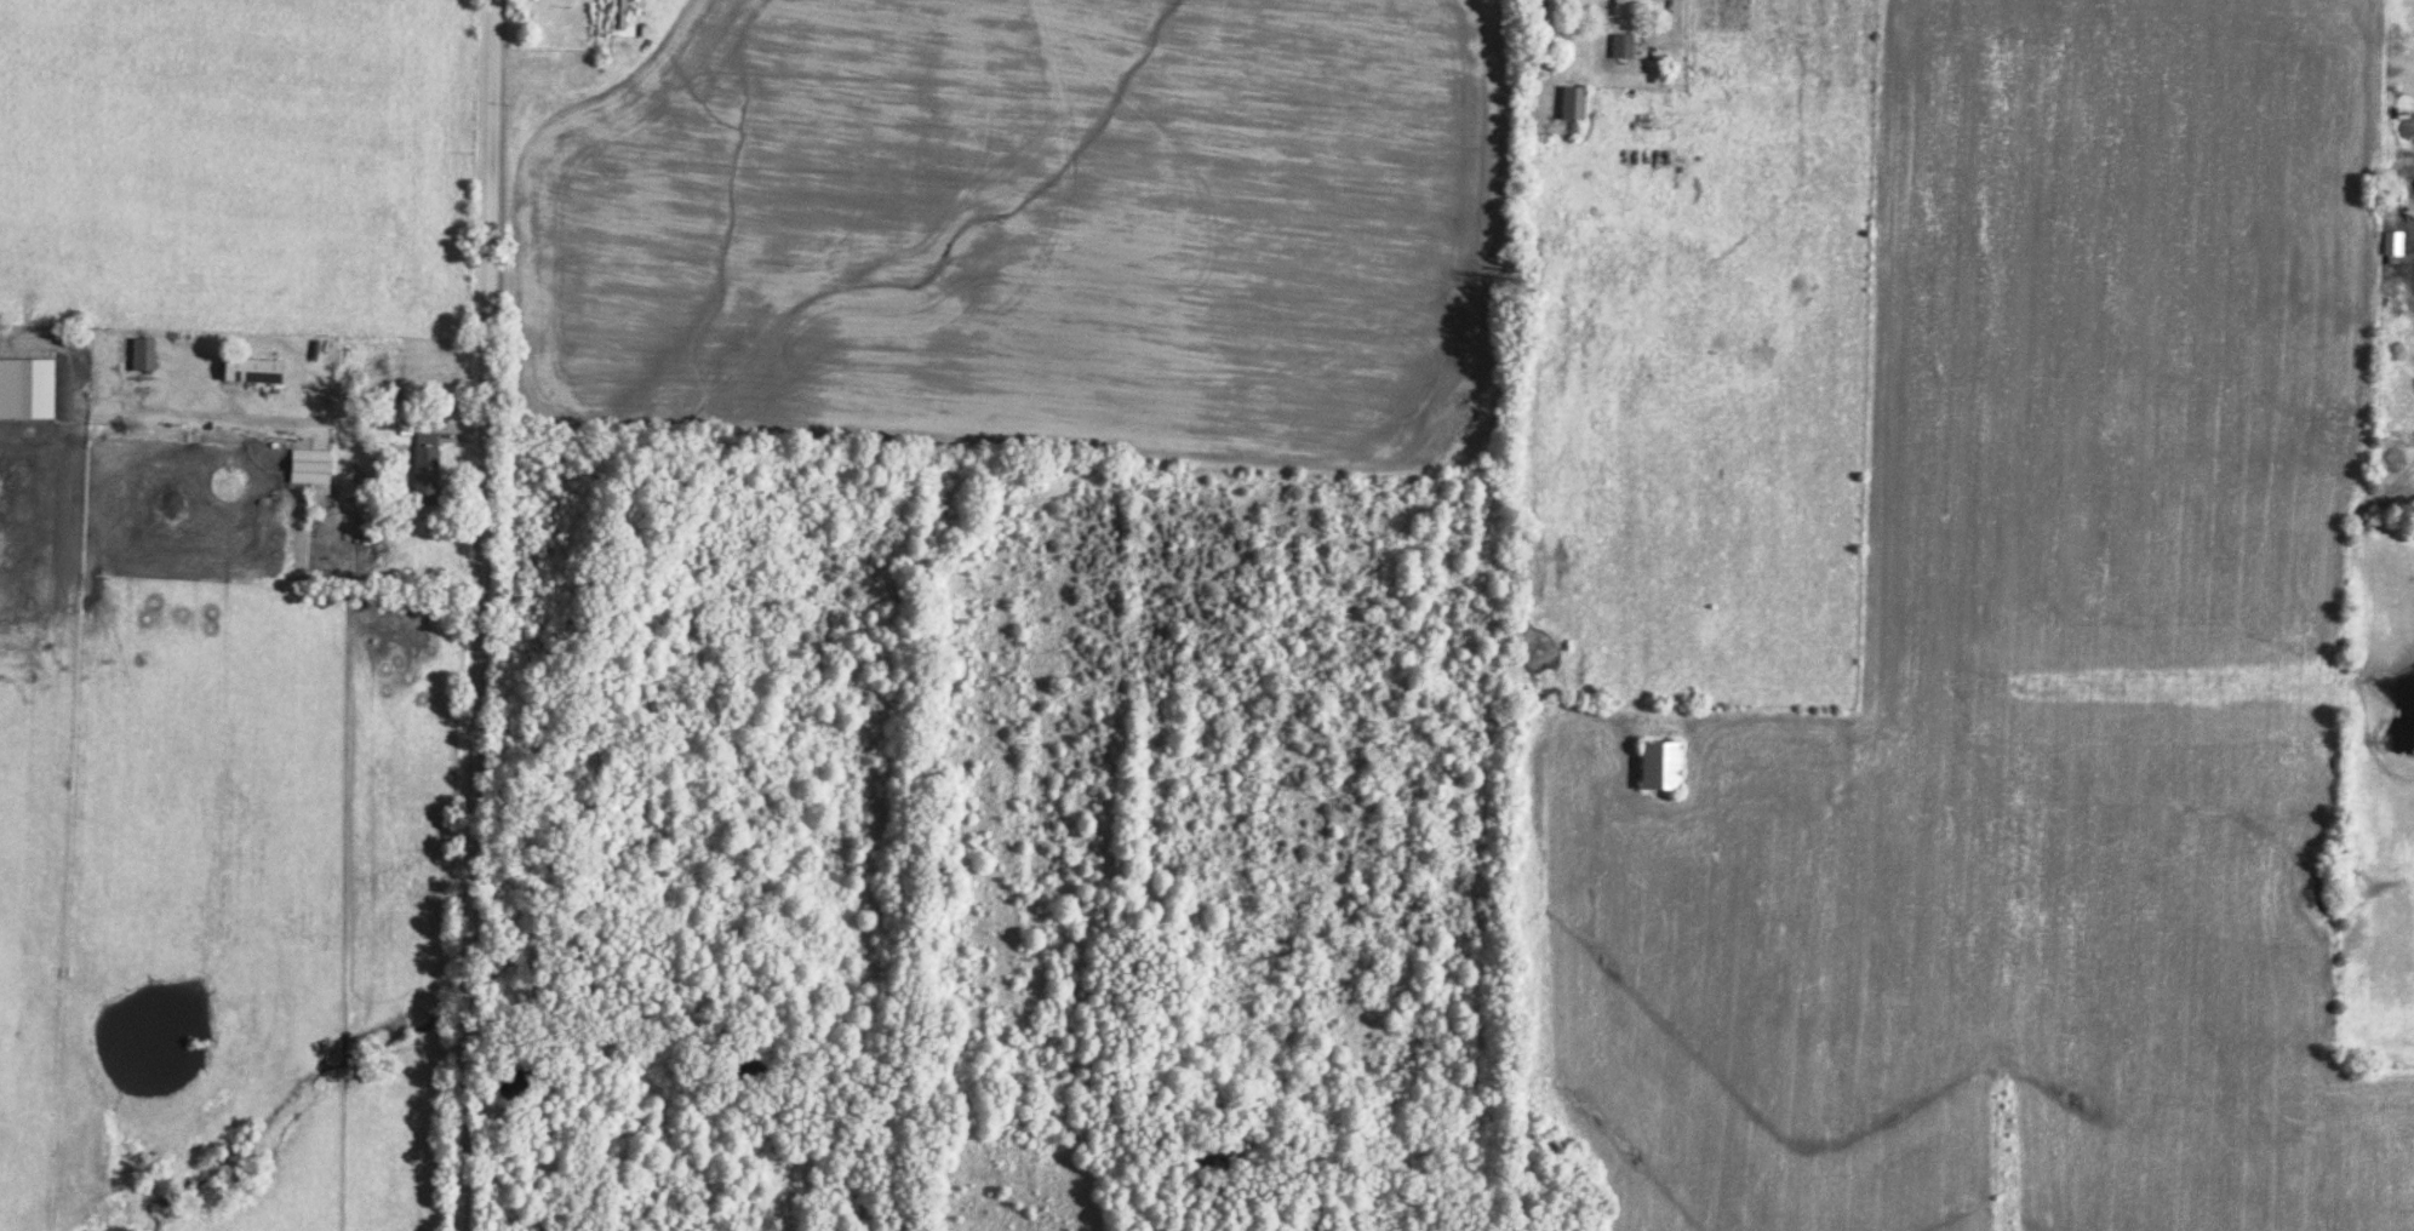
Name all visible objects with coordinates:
building: (1624, 6)
building: (1623, 42)
road: (1677, 61)
building: (1573, 99)
building: (2392, 239)
building: (142, 349)
building: (250, 366)
building: (25, 384)
road: (263, 425)
building: (308, 462)
building: (424, 464)
road: (480, 614)
building: (1659, 761)

